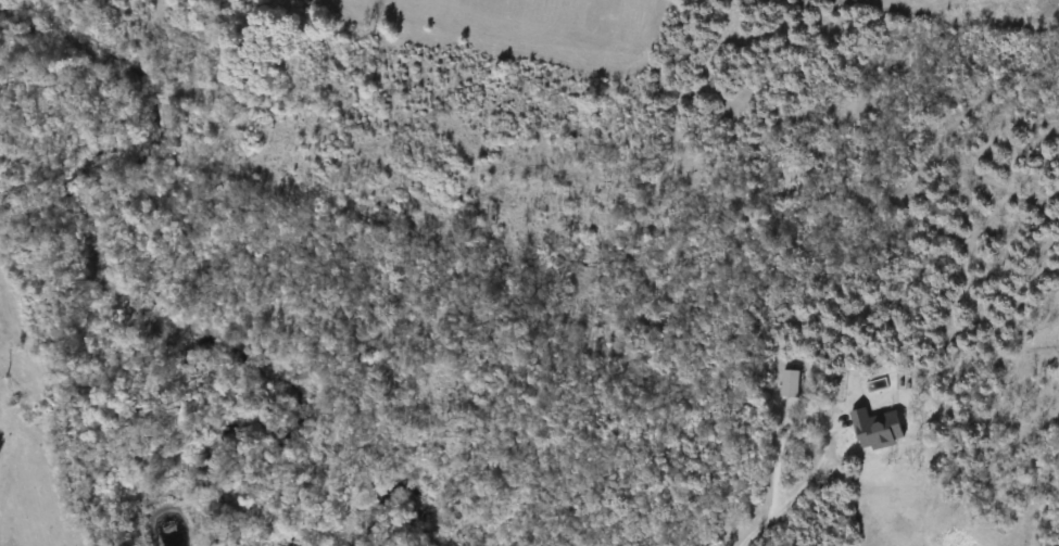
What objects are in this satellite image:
building: (790, 384)
road: (820, 420)
building: (879, 430)
road: (756, 528)

